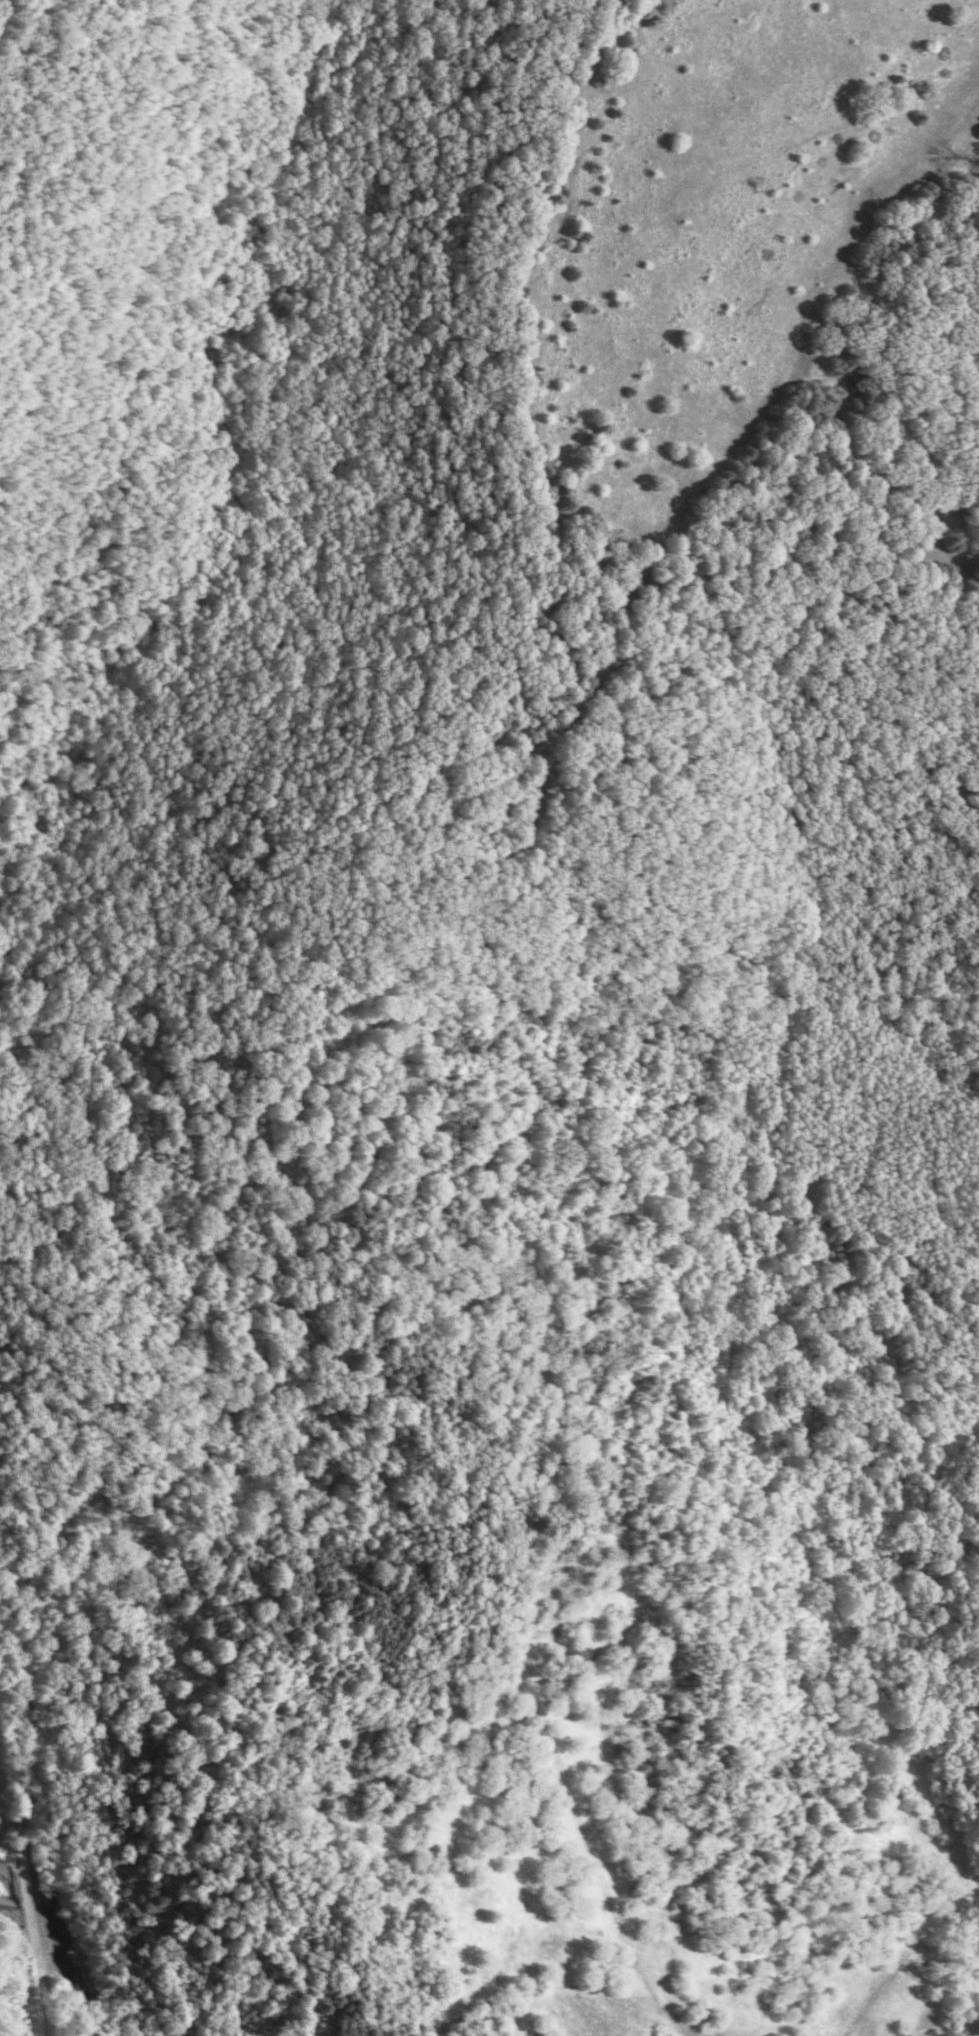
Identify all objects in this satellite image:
road: (26, 1862)

